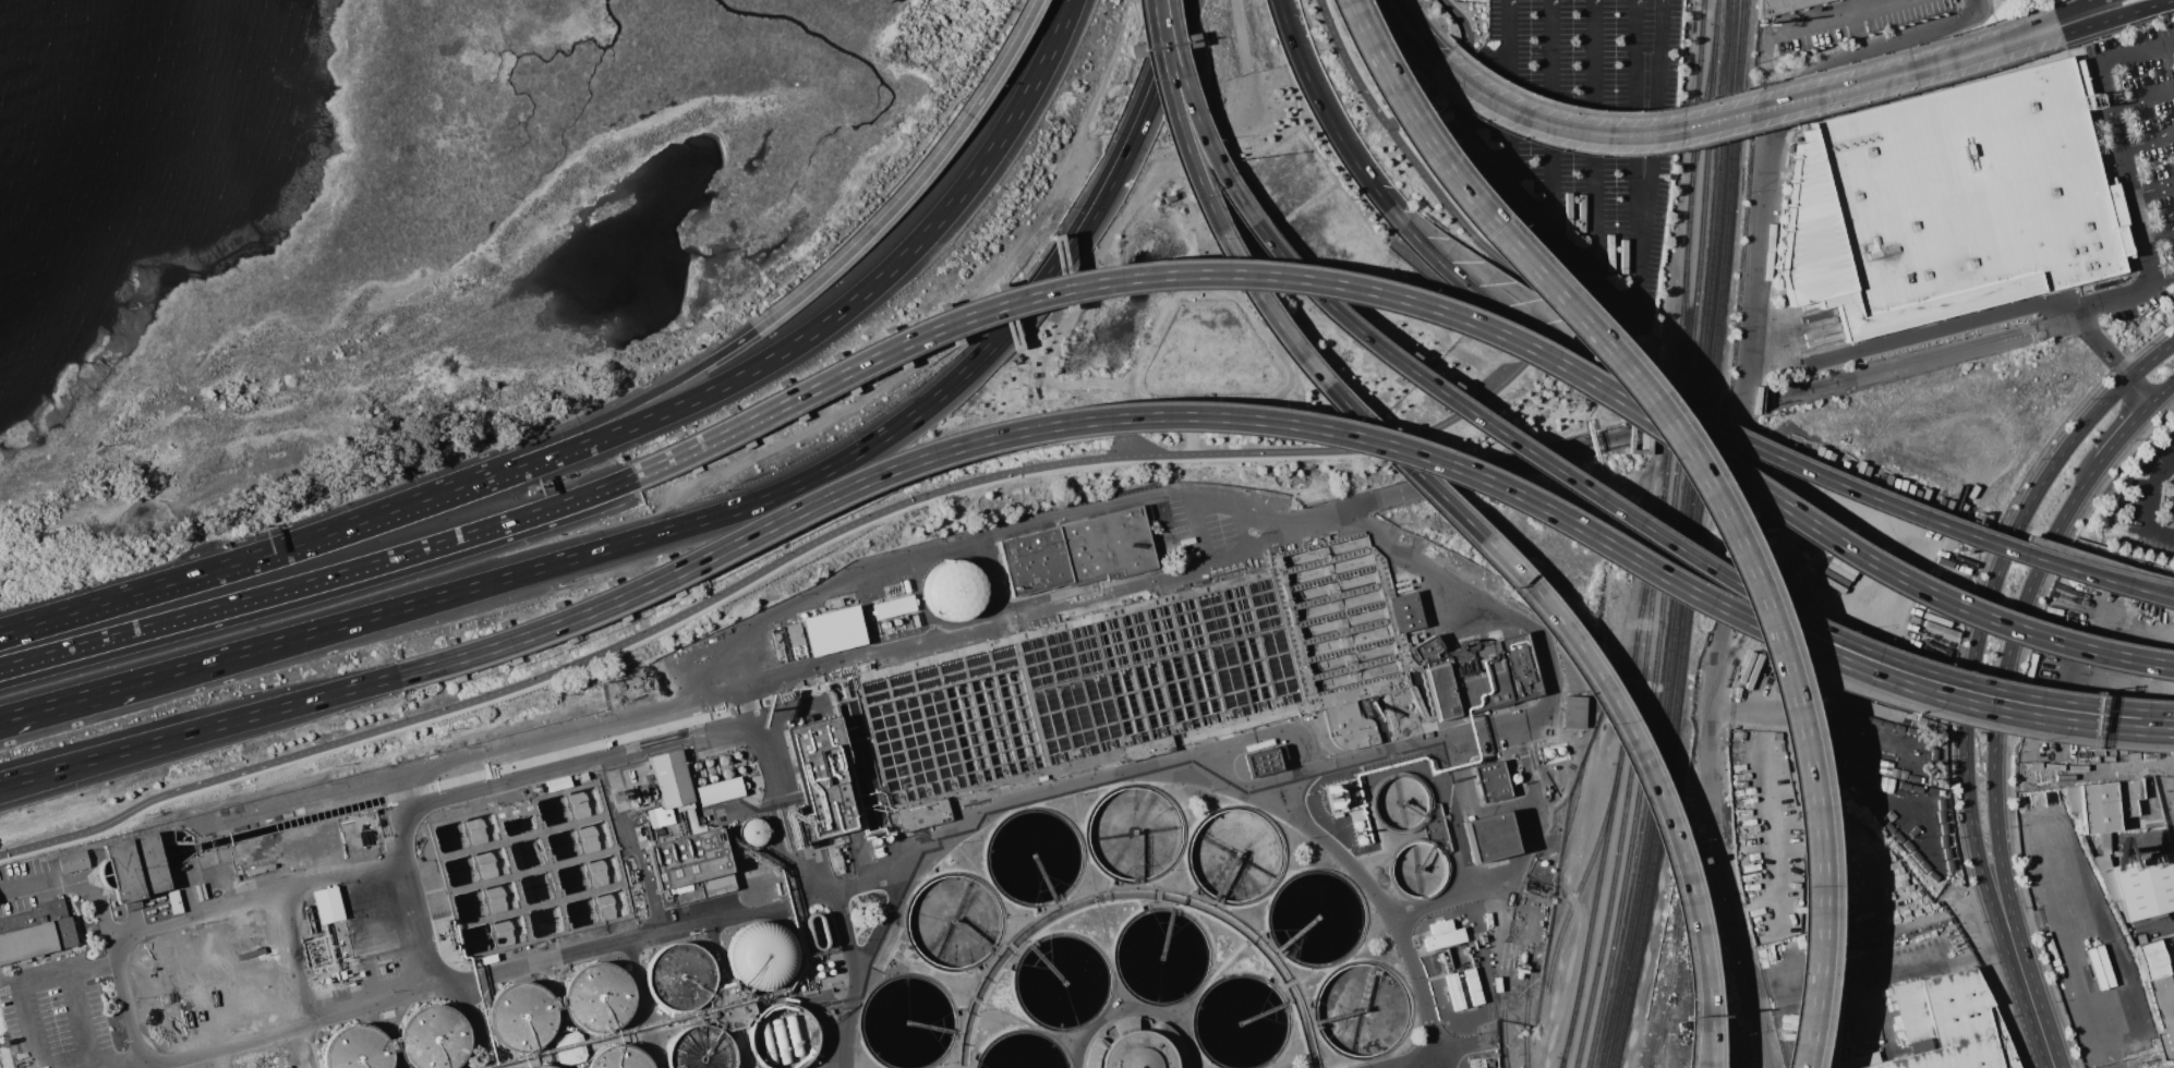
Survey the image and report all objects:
road: (2050, 0)
building: (1780, 5)
road: (1980, 5)
road: (1993, 5)
road: (2080, 11)
road: (1827, 17)
road: (2115, 17)
road: (1433, 23)
road: (1410, 33)
road: (1970, 49)
road: (2133, 56)
building: (2096, 57)
road: (1155, 61)
road: (1163, 62)
road: (1350, 68)
road: (1962, 80)
road: (1747, 88)
railway: (1727, 95)
building: (2151, 97)
road: (2138, 100)
railway: (1700, 102)
road: (1742, 112)
road: (1550, 114)
road: (1805, 114)
road: (1469, 116)
railway: (1704, 116)
road: (1329, 119)
parking lot: (1578, 136)
road: (1594, 137)
road: (1654, 139)
road: (2143, 144)
parking lot: (2140, 157)
road: (2147, 166)
road: (2119, 175)
road: (915, 182)
road: (2150, 193)
building: (1167, 195)
building: (1952, 202)
road: (1255, 226)
road: (2155, 236)
road: (1108, 238)
road: (2161, 281)
road: (1364, 290)
road: (1754, 291)
road: (1615, 300)
road: (1161, 313)
road: (2060, 326)
road: (1949, 328)
road: (950, 331)
road: (2099, 343)
road: (785, 348)
road: (1272, 348)
road: (2151, 361)
road: (1898, 366)
road: (1313, 373)
road: (2141, 391)
road: (2163, 393)
road: (1638, 400)
road: (2105, 404)
road: (1070, 422)
road: (2125, 433)
road: (561, 434)
road: (1749, 446)
road: (1493, 470)
road: (971, 478)
road: (2152, 494)
road: (1206, 500)
parking lot: (2154, 502)
road: (709, 517)
road: (1242, 529)
road: (2161, 535)
railway: (1672, 536)
railway: (1696, 536)
building: (1079, 551)
railway: (1681, 573)
road: (185, 579)
road: (319, 580)
building: (952, 590)
road: (2154, 593)
road: (2154, 595)
building: (894, 607)
road: (1782, 611)
building: (1404, 612)
building: (833, 631)
road: (3, 632)
railway: (1648, 639)
building: (1424, 648)
road: (2111, 655)
road: (784, 672)
road: (1972, 677)
building: (1482, 678)
road: (1953, 701)
road: (70, 702)
building: (1572, 712)
road: (4, 720)
road: (1501, 721)
road: (1998, 721)
road: (198, 729)
road: (732, 729)
road: (662, 739)
road: (764, 744)
road: (109, 758)
building: (1264, 761)
building: (582, 775)
road: (514, 779)
building: (672, 779)
building: (1491, 781)
building: (556, 782)
railway: (1614, 782)
building: (817, 785)
building: (720, 791)
building: (2072, 798)
road: (1010, 800)
building: (1400, 802)
road: (750, 809)
building: (922, 814)
building: (659, 817)
road: (1665, 826)
road: (786, 828)
building: (1437, 828)
building: (750, 830)
building: (301, 834)
wastewater plant: (903, 834)
building: (1489, 837)
road: (626, 842)
road: (1521, 857)
building: (74, 861)
building: (136, 867)
building: (691, 867)
building: (1417, 869)
railway: (1581, 876)
road: (341, 877)
road: (73, 881)
road: (402, 882)
road: (1722, 883)
building: (2143, 885)
road: (374, 901)
building: (176, 902)
road: (834, 903)
building: (326, 905)
road: (1388, 910)
road: (1497, 923)
building: (816, 931)
building: (37, 932)
road: (131, 932)
building: (1444, 935)
road: (609, 945)
building: (2171, 945)
road: (715, 947)
railway: (1675, 947)
railway: (1695, 947)
building: (760, 956)
storage tank: (760, 956)
building: (2151, 959)
road: (1802, 968)
road: (1908, 969)
road: (2020, 972)
building: (678, 976)
storage tank: (678, 976)
road: (22, 980)
building: (1473, 986)
building: (1454, 991)
building: (596, 997)
storage tank: (596, 997)
road: (644, 1004)
building: (732, 1007)
railway: (1529, 1007)
building: (2164, 1008)
railway: (1610, 1011)
railway: (1507, 1012)
building: (521, 1016)
storage tank: (521, 1016)
road: (81, 1017)
road: (474, 1024)
building: (1948, 1024)
road: (295, 1028)
road: (1702, 1029)
road: (1695, 1030)
road: (2045, 1033)
building: (783, 1036)
building: (433, 1037)
storage tank: (433, 1037)
road: (301, 1044)
building: (1135, 1046)
building: (357, 1048)
storage tank: (357, 1048)
building: (701, 1048)
storage tank: (701, 1048)
road: (741, 1049)
building: (620, 1058)
storage tank: (620, 1058)
road: (2113, 1058)
road: (1404, 1061)
road: (109, 1063)
railway: (1560, 1063)
building: (556, 1065)
building: (541, 1066)
storage tank: (541, 1066)
building: (1478, 1067)

